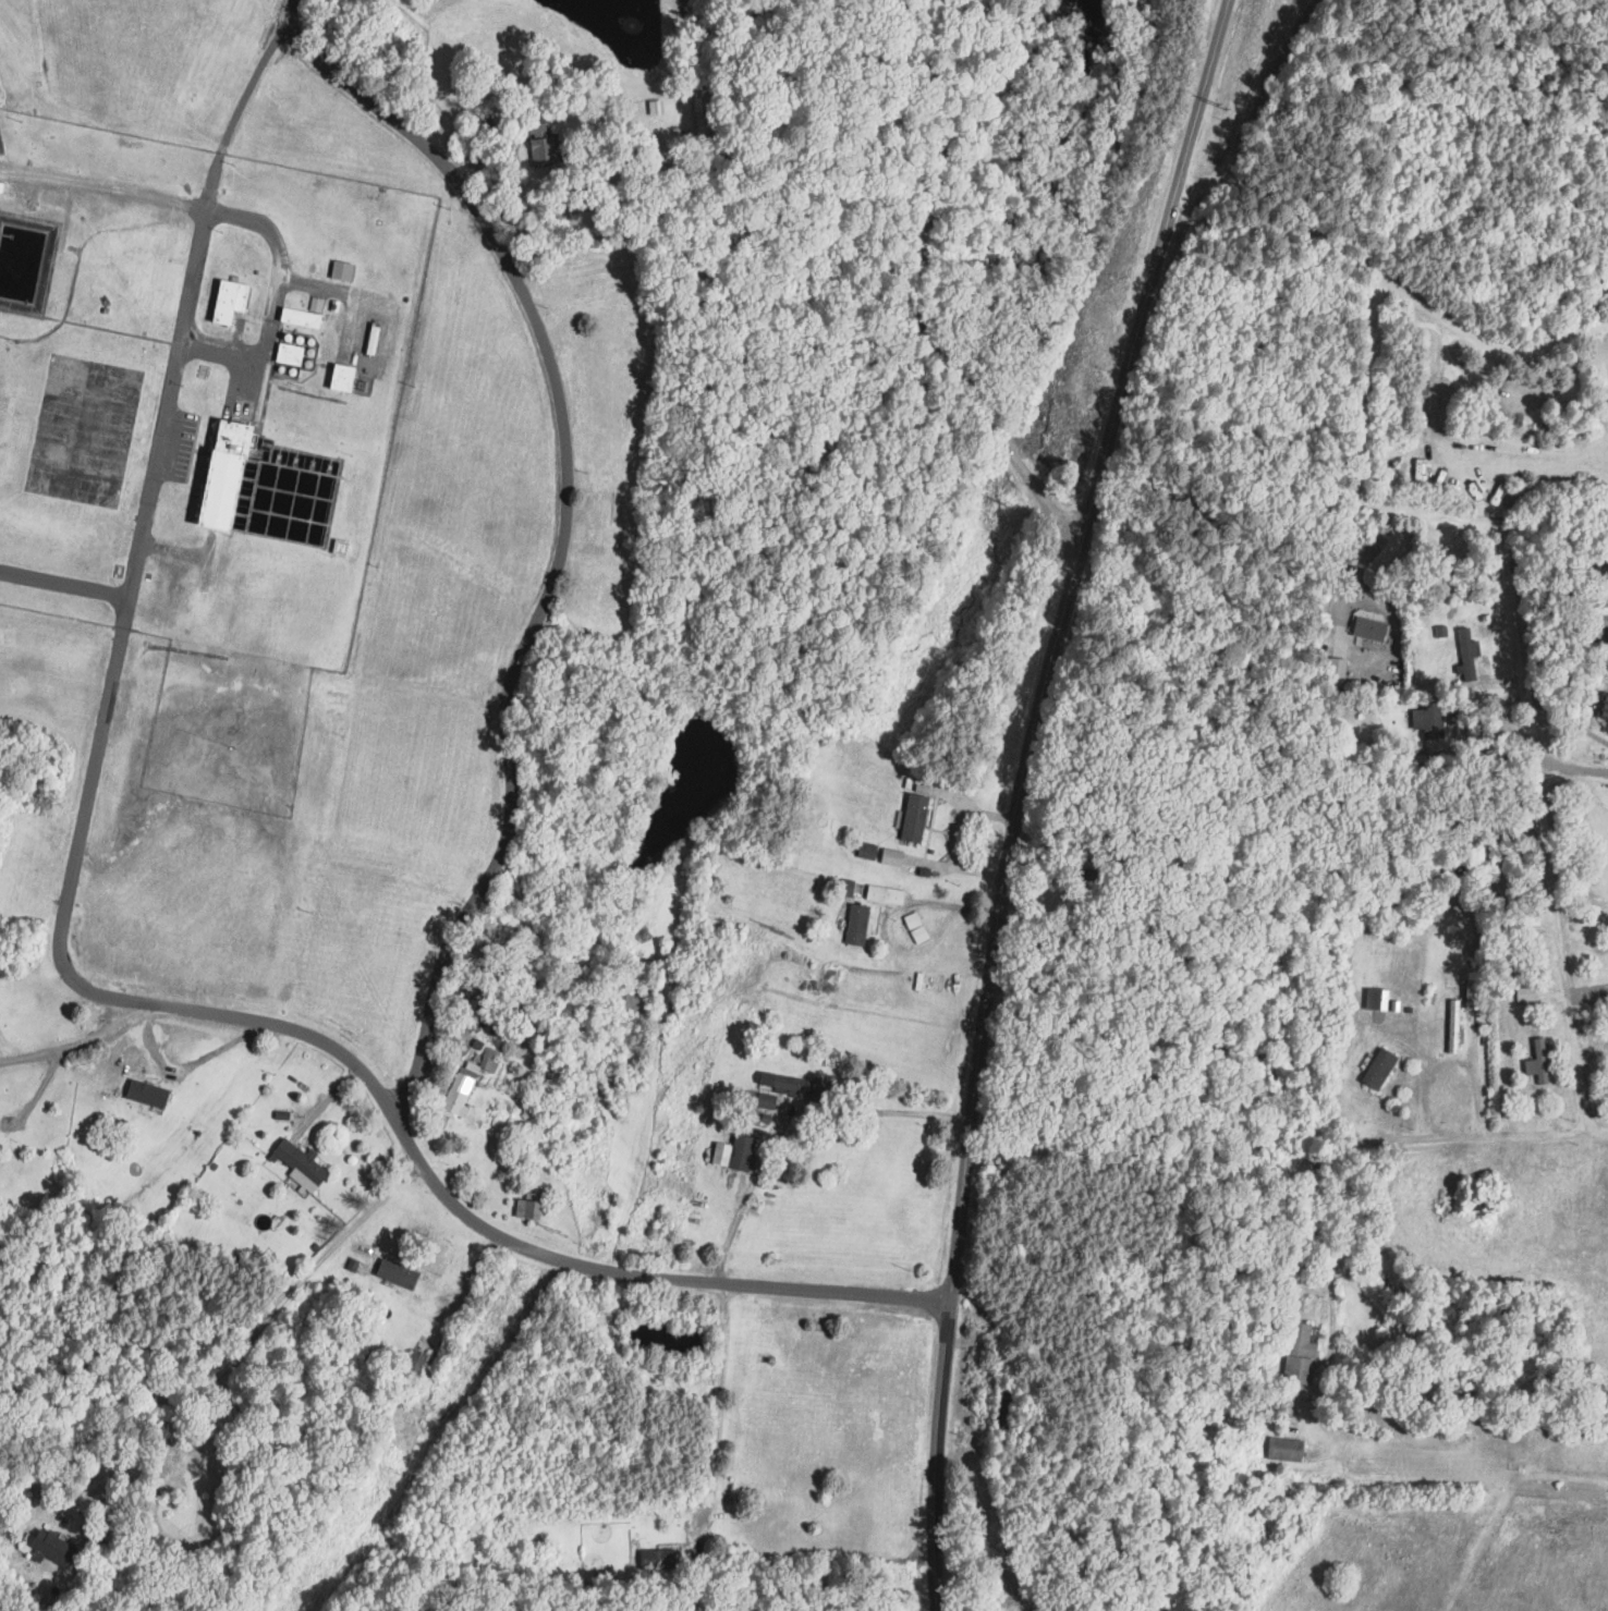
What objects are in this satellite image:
road: (294, 14)
power tower: (1222, 107)
building: (704, 115)
building: (544, 142)
building: (22, 202)
road: (575, 212)
building: (342, 270)
road: (1384, 279)
road: (272, 291)
road: (913, 292)
building: (230, 302)
building: (301, 318)
road: (1607, 328)
building: (631, 329)
building: (374, 339)
building: (290, 354)
building: (343, 378)
park: (1221, 382)
building: (227, 476)
power tower: (1008, 503)
road: (560, 523)
road: (149, 536)
building: (341, 549)
building: (1369, 628)
road: (1519, 650)
building: (1469, 652)
building: (1605, 708)
building: (1433, 720)
building: (1607, 730)
road: (1020, 794)
building: (915, 817)
building: (867, 851)
building: (891, 857)
building: (1092, 883)
building: (845, 887)
building: (885, 894)
building: (1532, 918)
building: (857, 924)
building: (916, 927)
power tower: (782, 929)
building: (1525, 993)
building: (473, 1012)
building: (1453, 1026)
building: (459, 1045)
building: (1538, 1062)
road: (190, 1063)
building: (1380, 1069)
building: (804, 1085)
building: (148, 1094)
building: (458, 1095)
building: (765, 1100)
road: (783, 1118)
road: (1348, 1150)
building: (742, 1151)
building: (301, 1164)
road: (446, 1183)
building: (532, 1205)
power tower: (562, 1232)
building: (398, 1273)
road: (249, 1341)
building: (1300, 1355)
building: (414, 1366)
road: (720, 1399)
building: (1004, 1411)
building: (1286, 1450)
power tower: (394, 1473)
building: (52, 1548)
building: (658, 1560)

